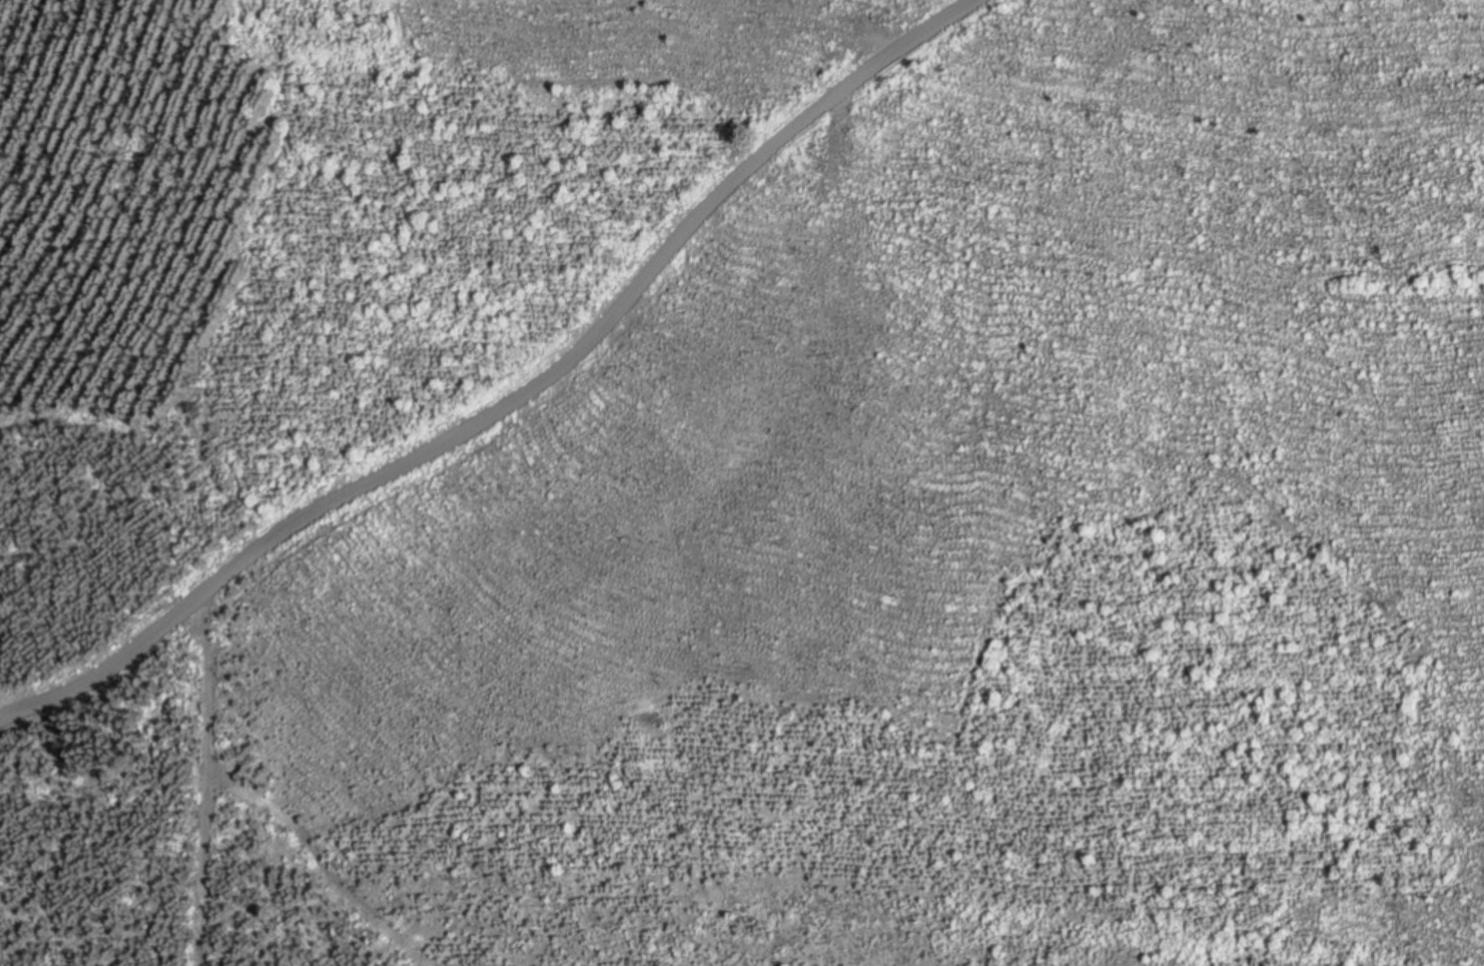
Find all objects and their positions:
road: (520, 402)

